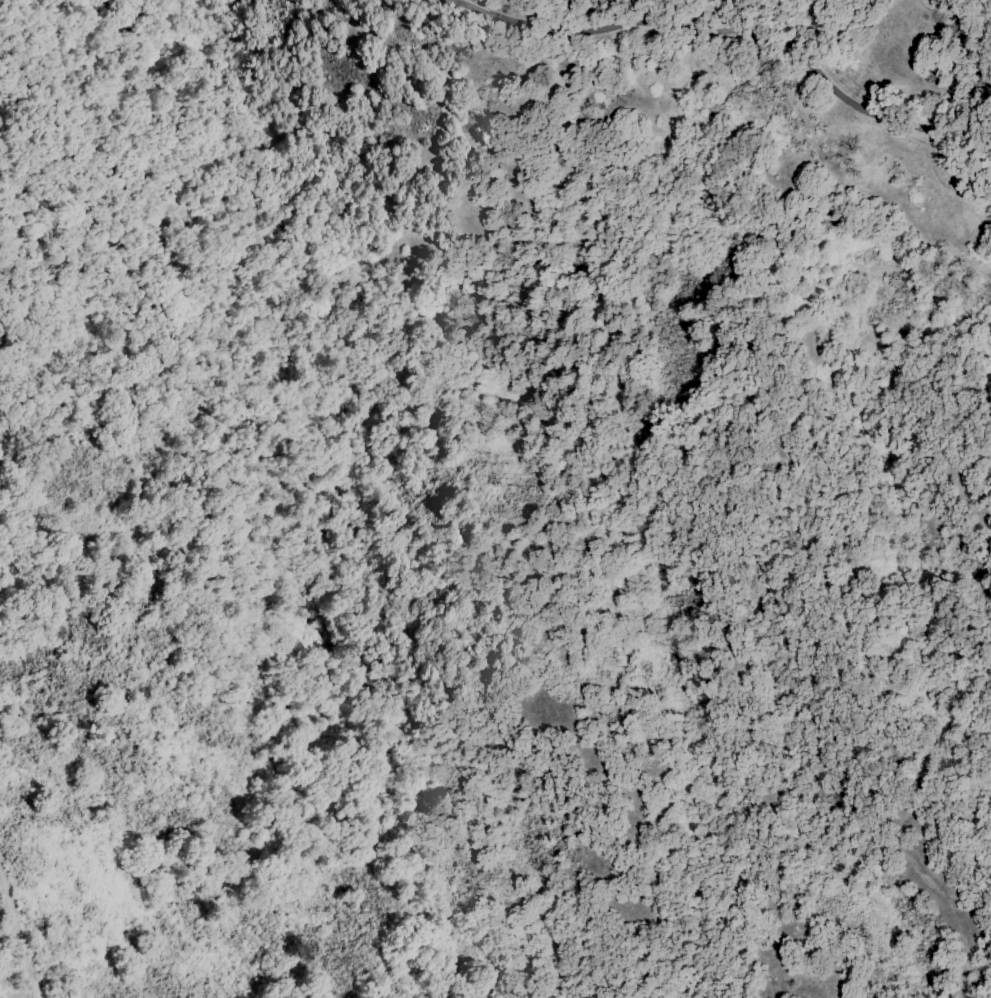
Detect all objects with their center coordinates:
road: (728, 30)
road: (25, 951)

